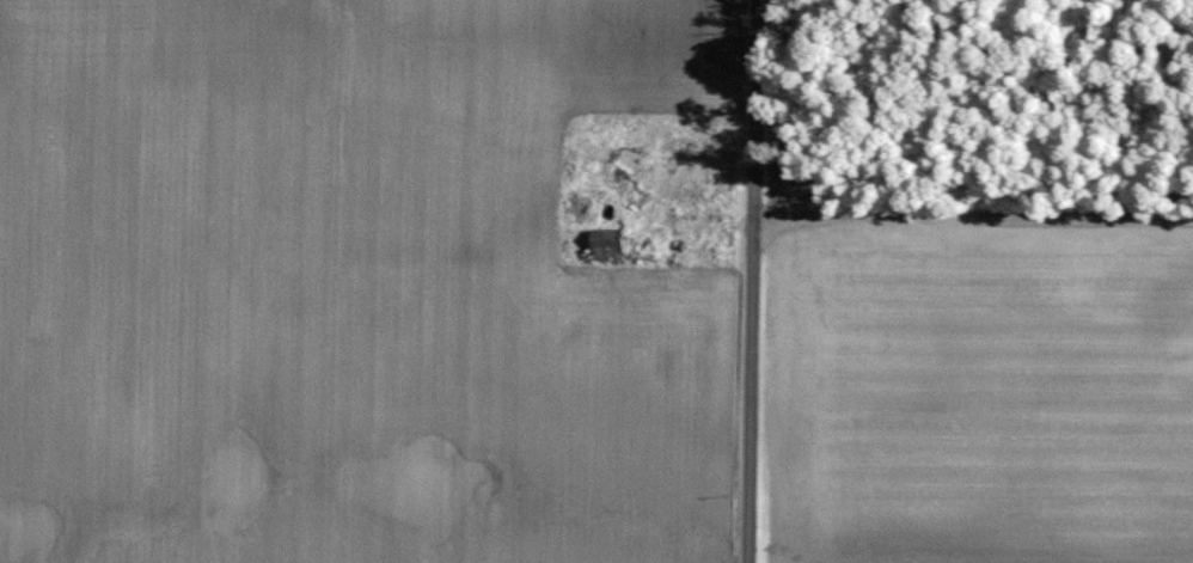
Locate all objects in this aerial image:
road: (748, 281)

